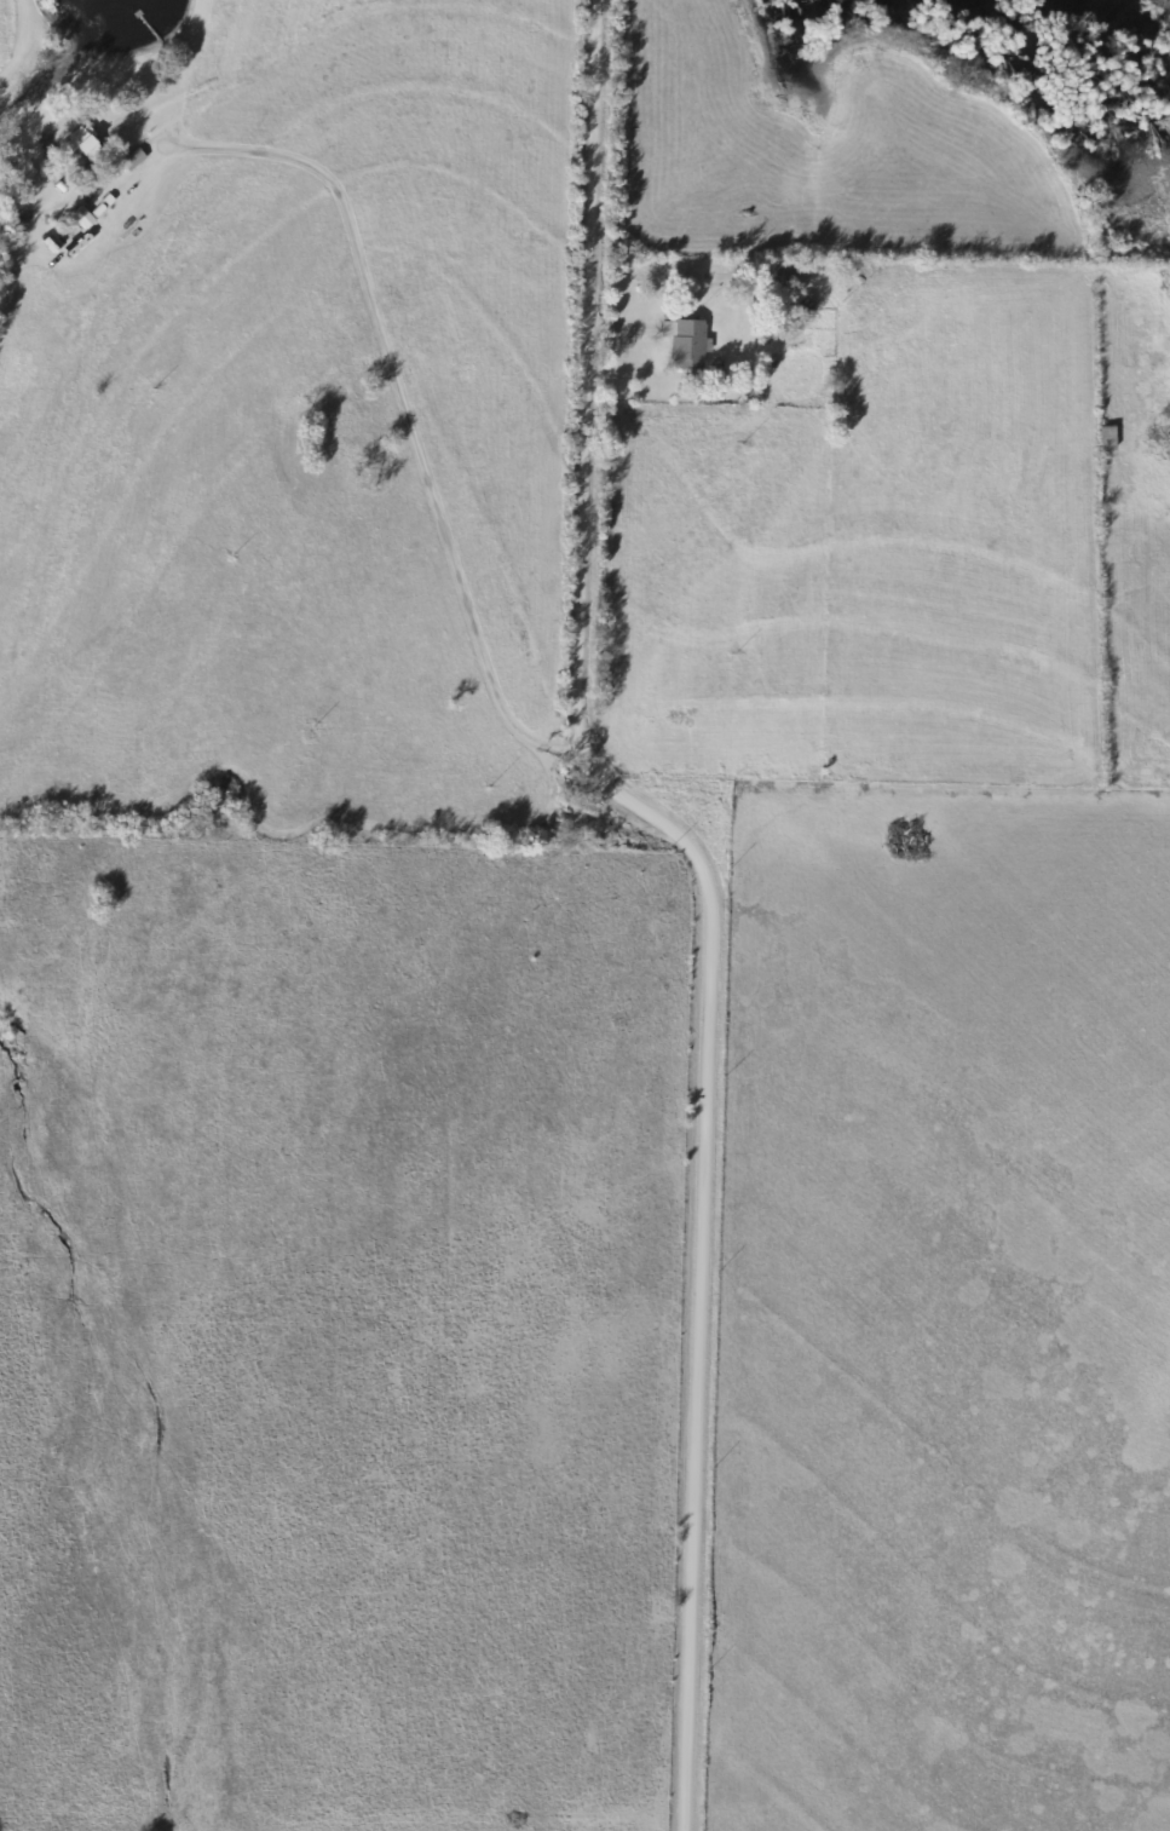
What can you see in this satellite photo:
building: (76, 144)
building: (685, 345)
road: (392, 413)
building: (1105, 438)
road: (294, 827)
road: (687, 891)

